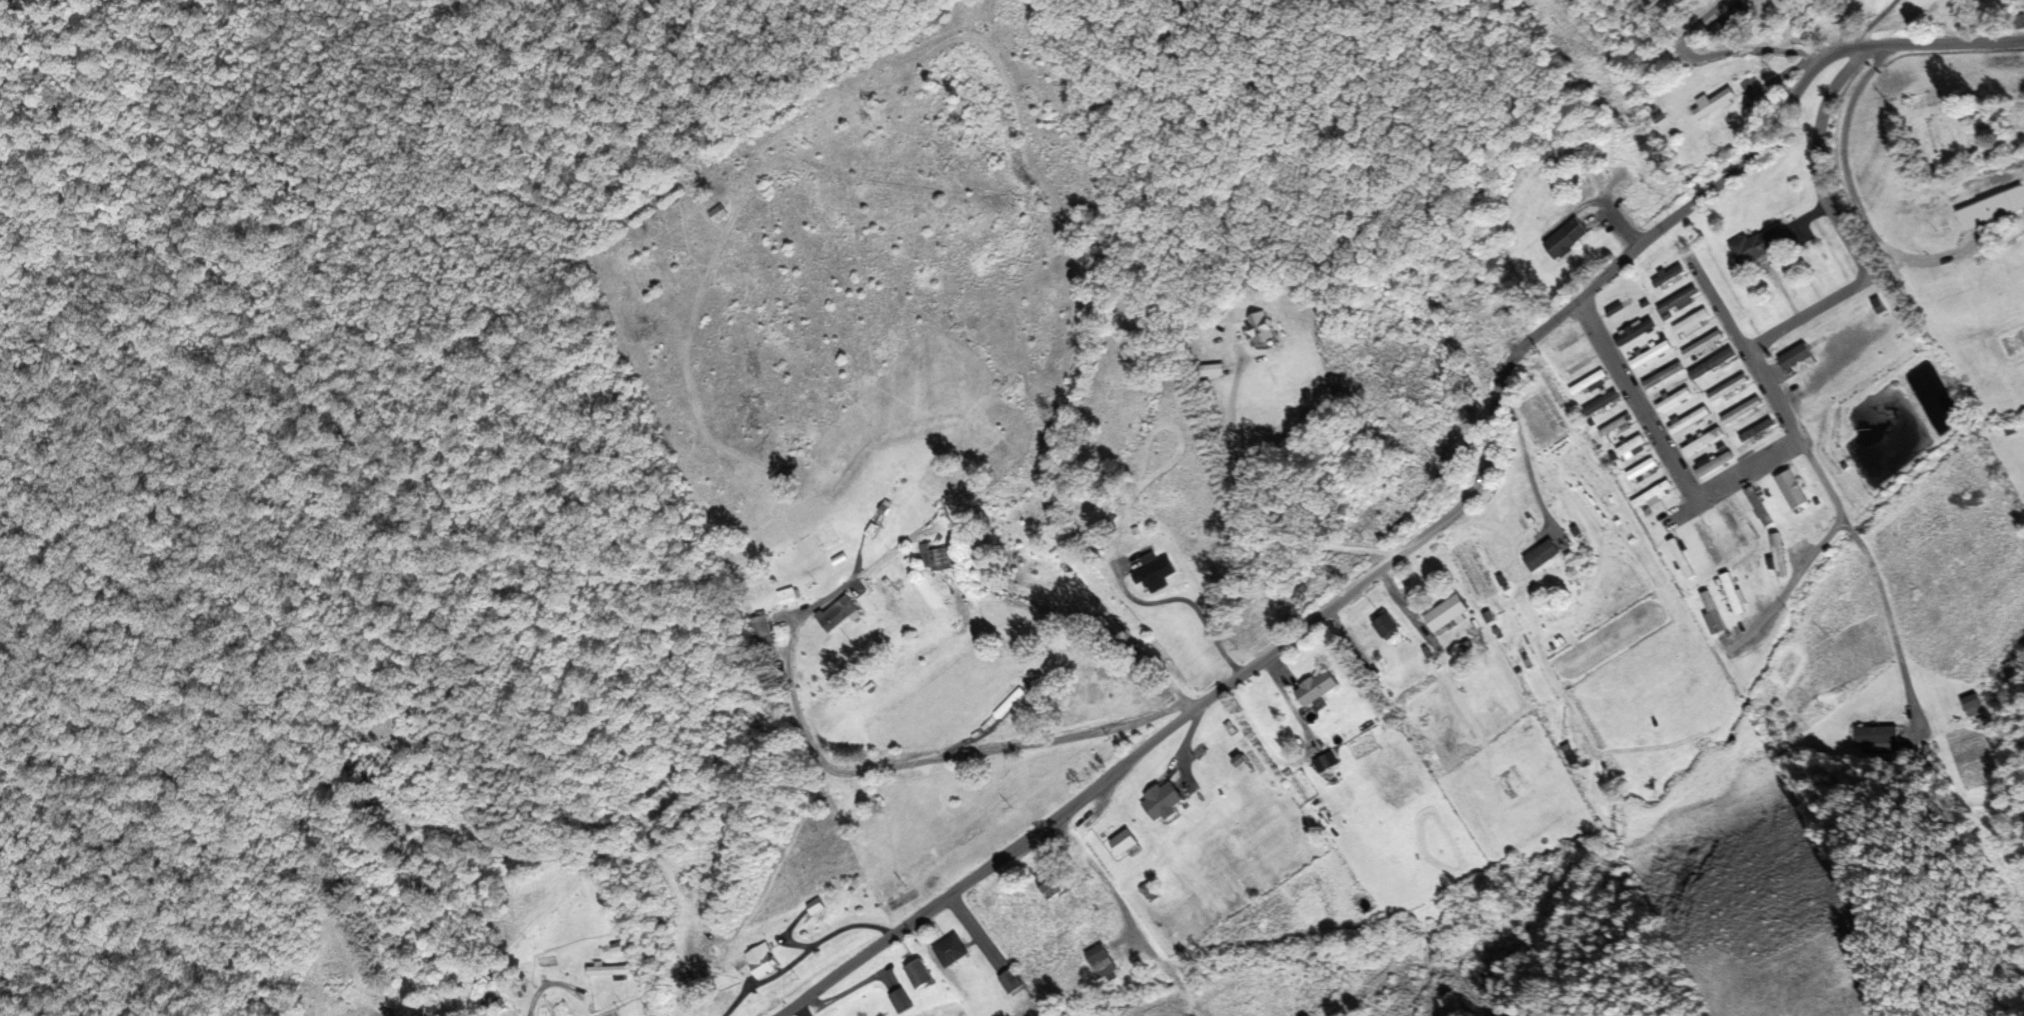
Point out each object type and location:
building: (2017, 21)
road: (1945, 46)
road: (1805, 51)
building: (1712, 103)
building: (1992, 207)
road: (1839, 226)
building: (1567, 238)
building: (1762, 243)
building: (1669, 277)
building: (1679, 302)
building: (1488, 309)
building: (1692, 323)
building: (1261, 328)
building: (1635, 331)
building: (1703, 344)
building: (1651, 354)
building: (1797, 359)
building: (1212, 369)
building: (1657, 371)
building: (1593, 382)
building: (1732, 387)
building: (1674, 399)
building: (1603, 404)
building: (1742, 410)
road: (1785, 417)
building: (1689, 419)
building: (1616, 426)
building: (1757, 429)
building: (1699, 441)
building: (1632, 447)
road: (1666, 453)
building: (1641, 468)
building: (1792, 489)
building: (1649, 498)
building: (1759, 507)
building: (1733, 524)
building: (1706, 541)
building: (1778, 554)
building: (1542, 555)
building: (934, 558)
building: (1681, 558)
road: (1381, 572)
building: (1151, 574)
building: (1757, 574)
road: (1791, 580)
building: (786, 596)
building: (888, 600)
building: (839, 613)
building: (1446, 613)
building: (1385, 625)
building: (763, 628)
road: (248, 636)
road: (1898, 654)
building: (1316, 687)
building: (1007, 706)
building: (1876, 735)
building: (1570, 754)
building: (1326, 762)
road: (904, 775)
building: (1162, 801)
building: (1122, 843)
building: (1049, 883)
building: (950, 950)
building: (760, 961)
building: (1101, 961)
building: (609, 970)
building: (920, 974)
building: (1010, 981)
building: (901, 1001)

